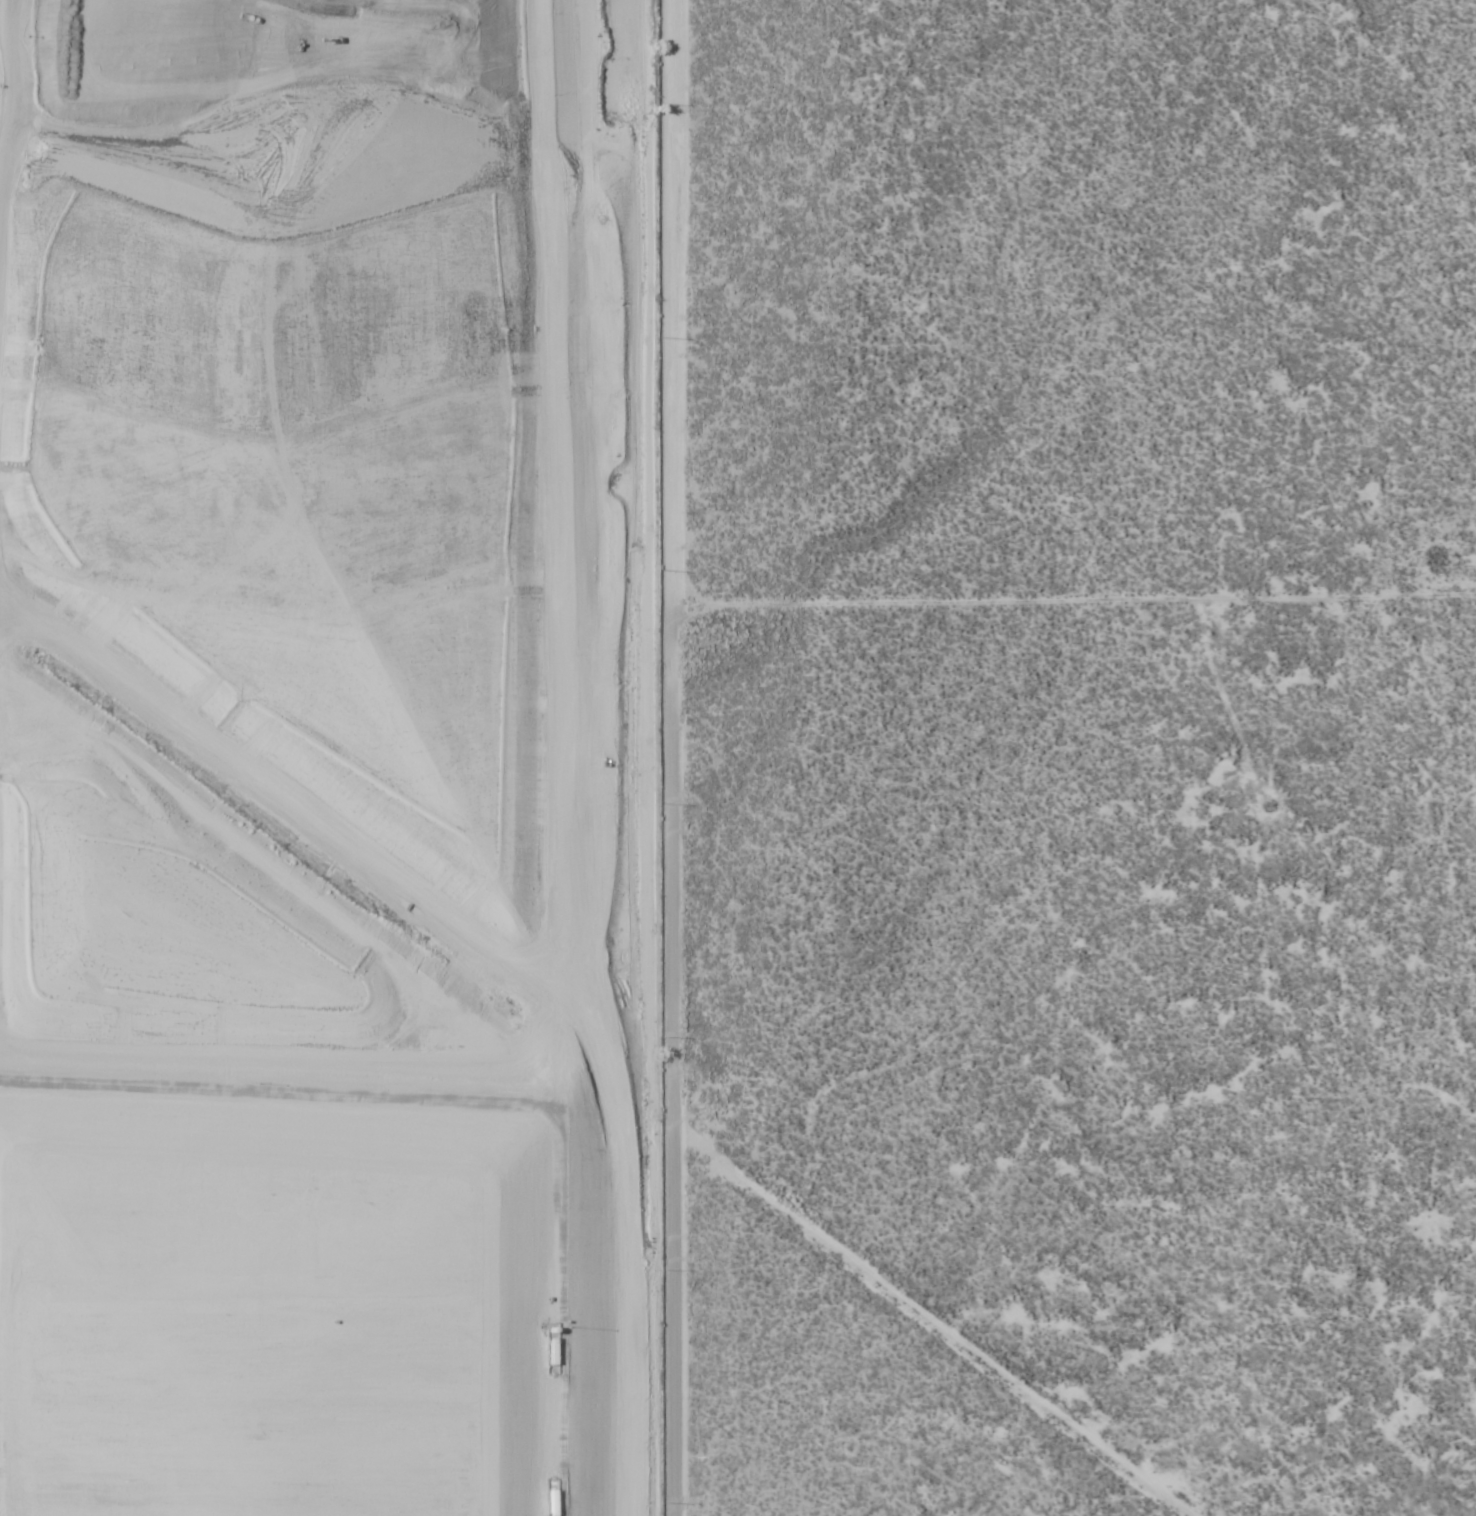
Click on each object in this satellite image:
landfill: (327, 758)
building: (538, 1349)
building: (536, 1499)

